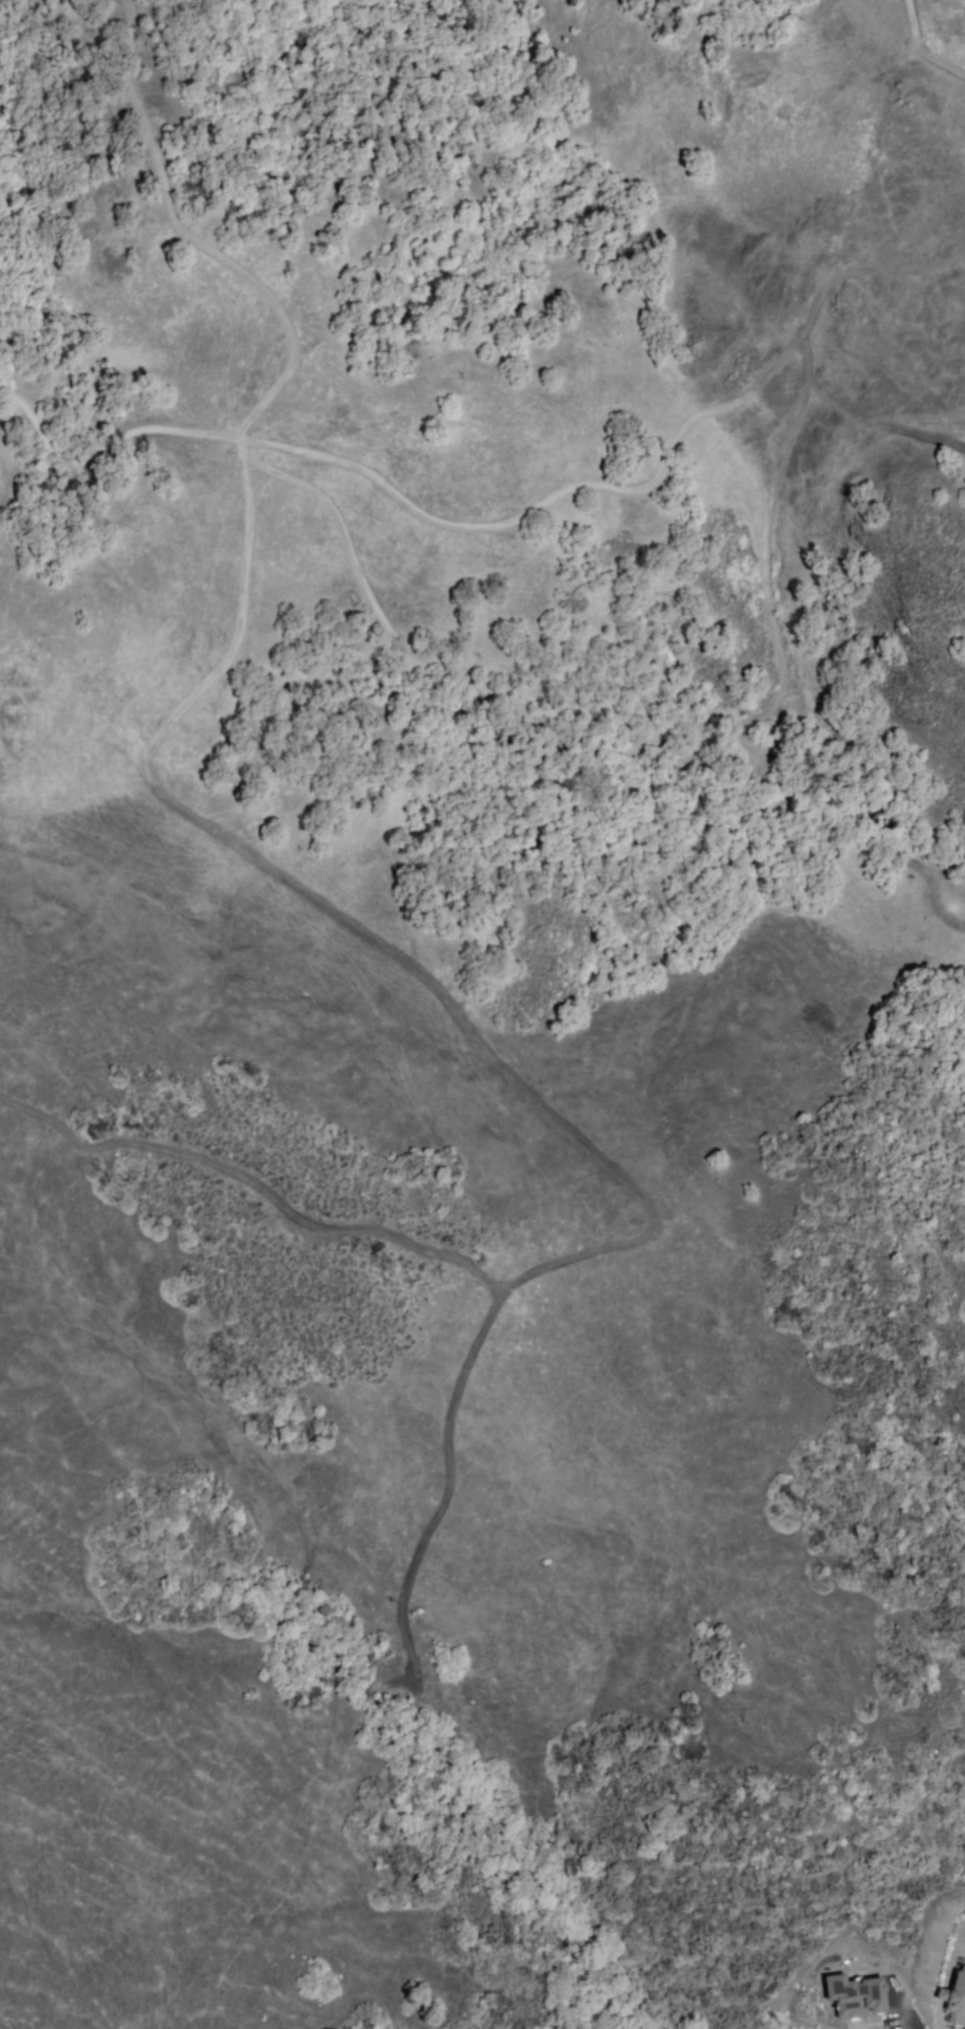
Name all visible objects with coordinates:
building: (861, 1994)
building: (957, 1998)
road: (911, 2018)
road: (943, 2018)

